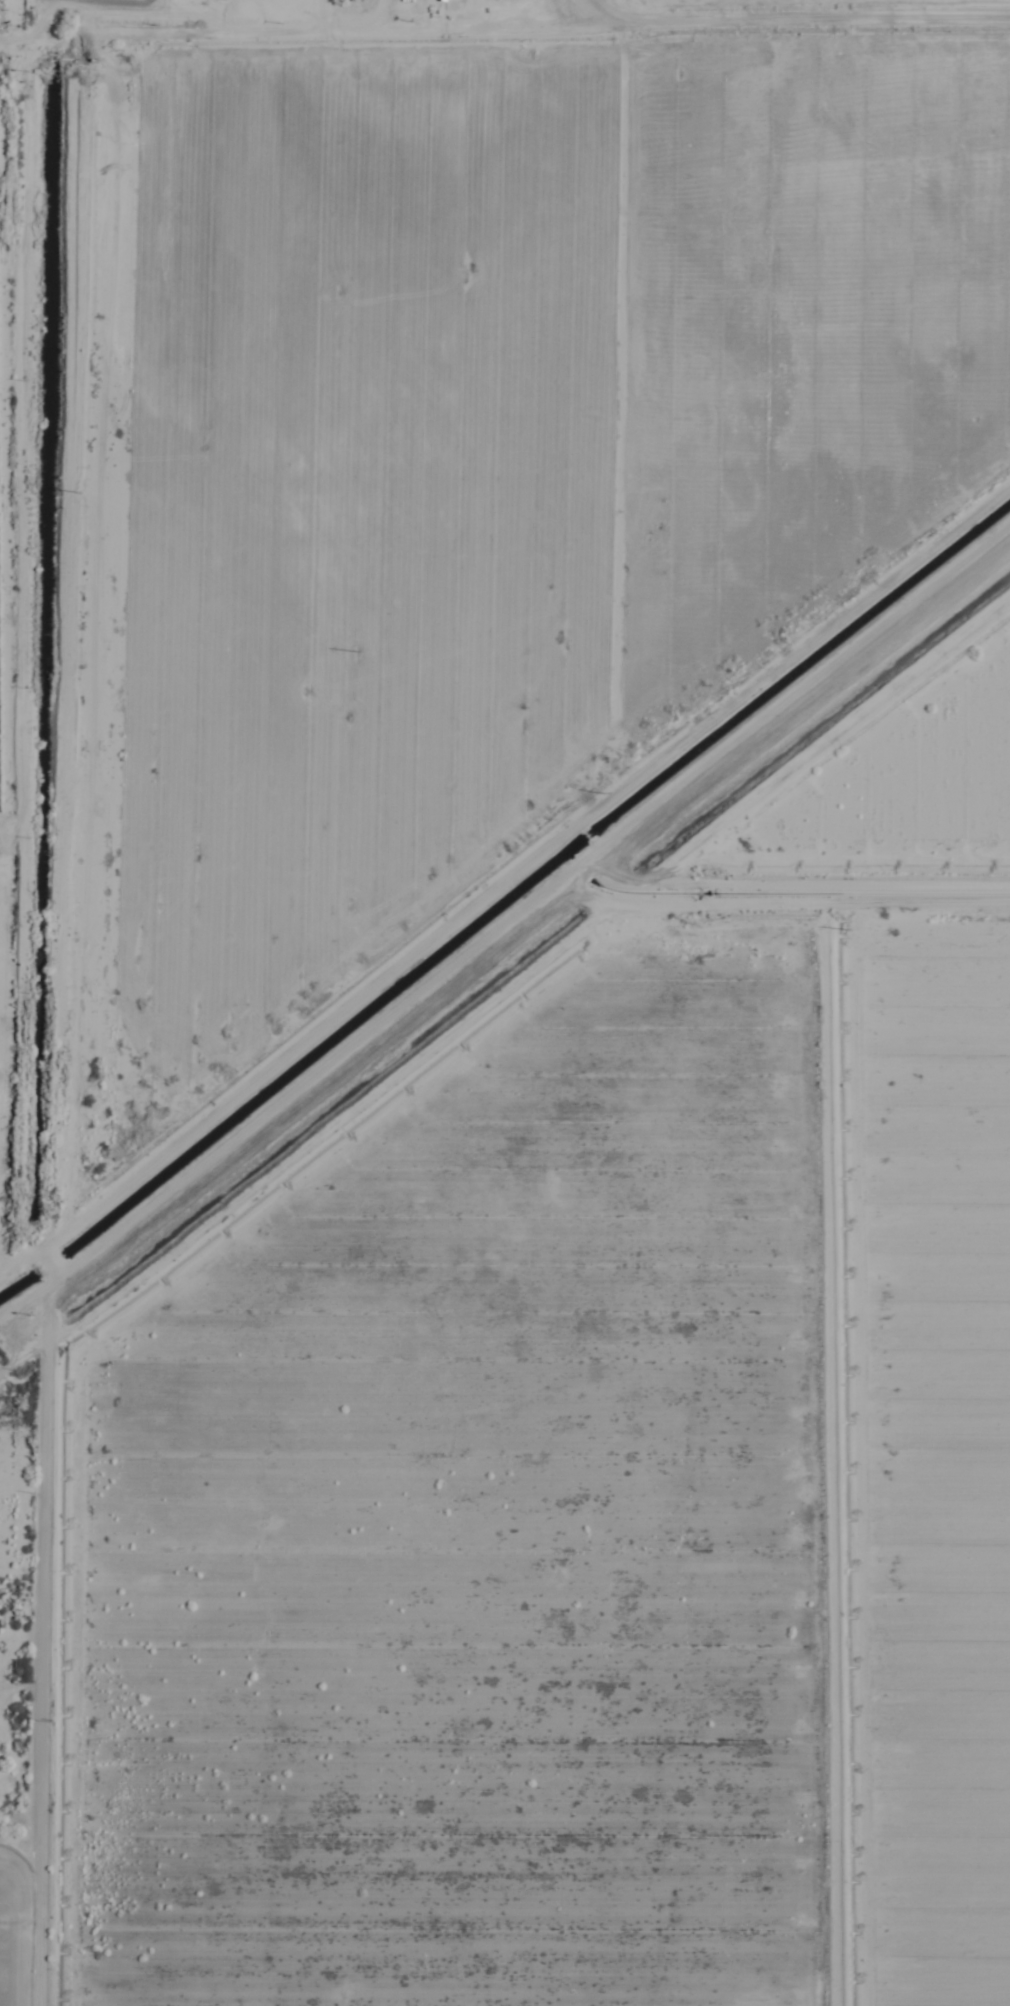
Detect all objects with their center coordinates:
road: (11, 902)
crop: (505, 1003)
road: (1, 1951)

